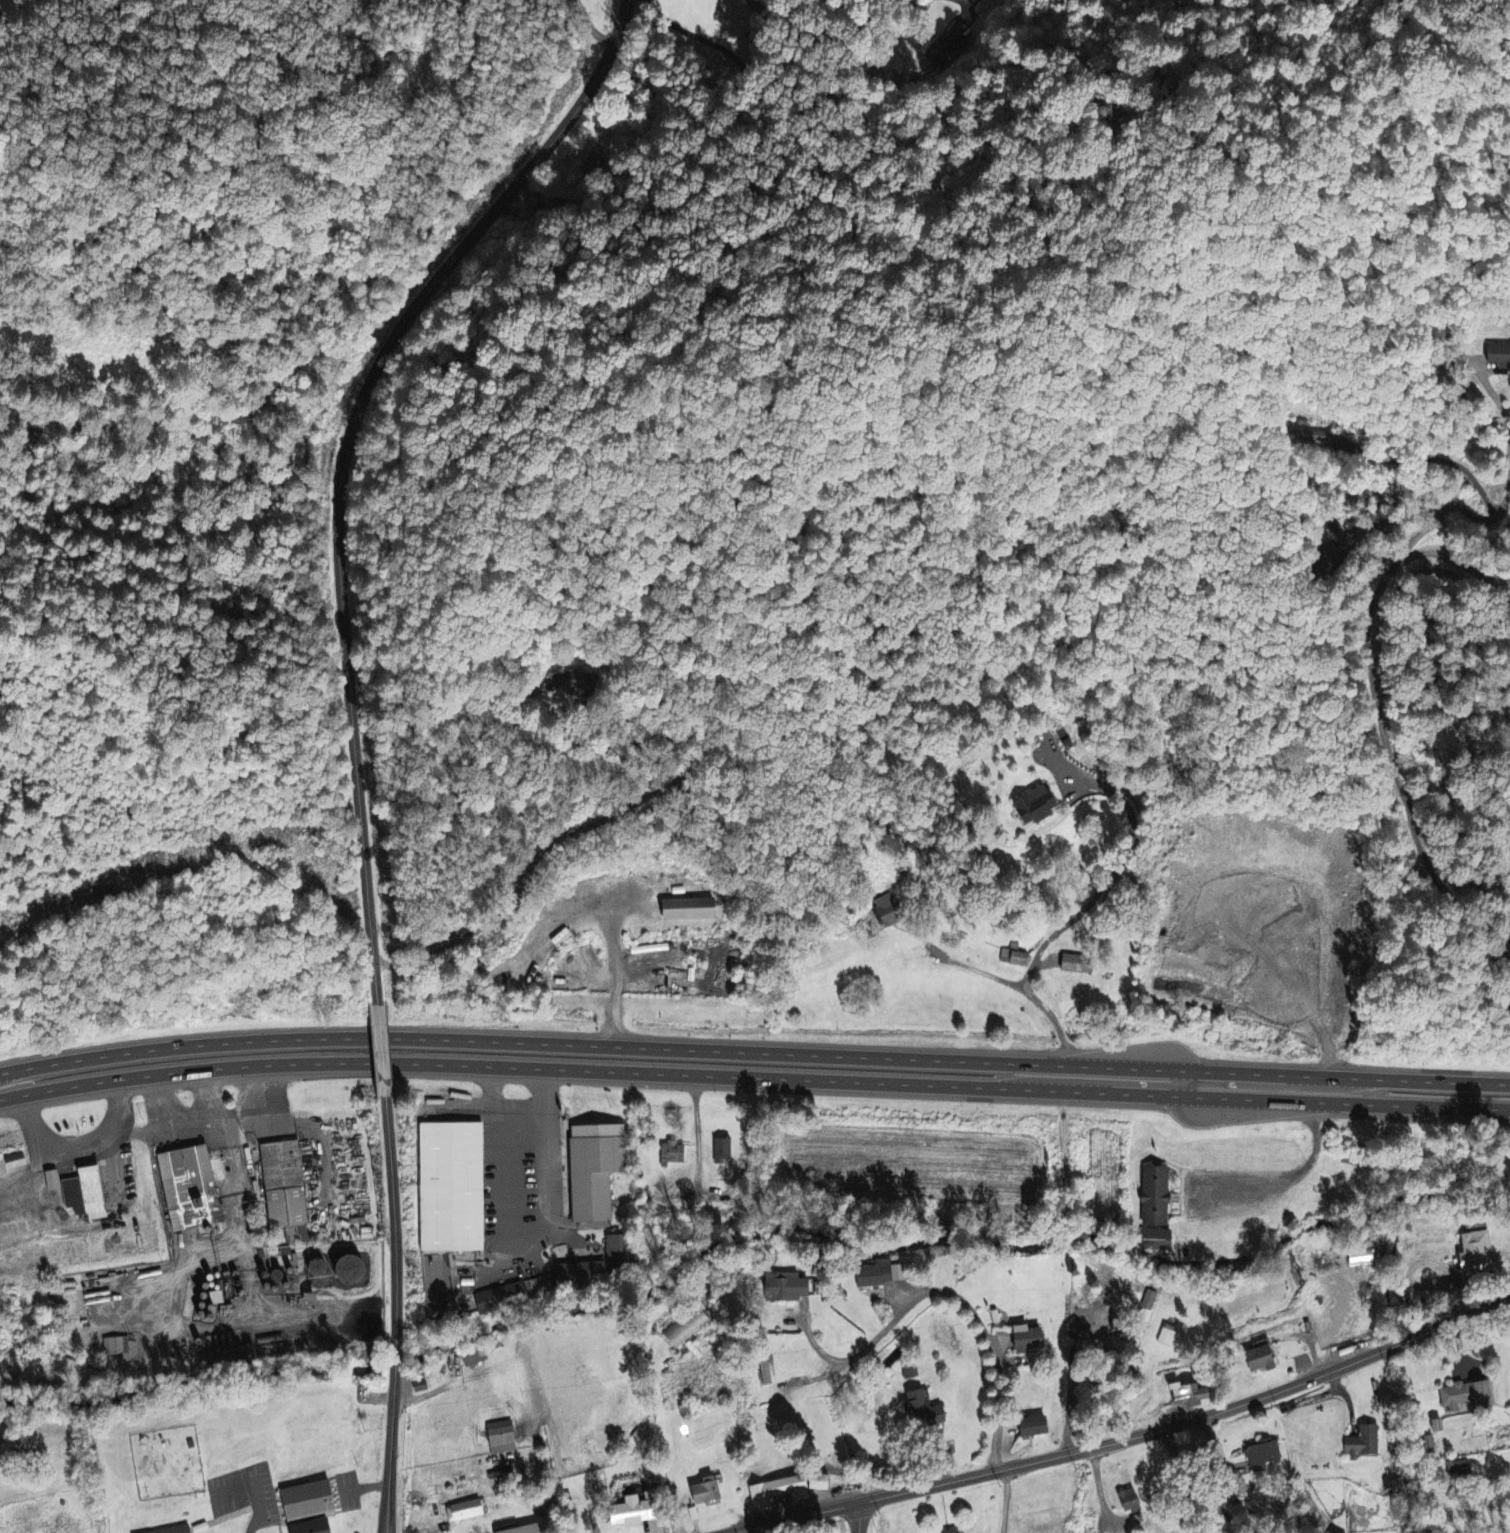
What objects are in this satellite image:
road: (964, 2)
building: (950, 44)
road: (786, 114)
building: (594, 161)
building: (564, 206)
building: (1496, 354)
road: (1493, 390)
road: (341, 459)
road: (1450, 507)
building: (581, 688)
road: (1383, 731)
road: (644, 799)
building: (1031, 807)
road: (1117, 864)
building: (687, 910)
building: (887, 912)
building: (1015, 958)
road: (995, 973)
road: (753, 1047)
road: (383, 1051)
road: (753, 1081)
road: (211, 1093)
road: (516, 1106)
road: (211, 1115)
building: (722, 1152)
building: (677, 1154)
building: (20, 1161)
building: (600, 1170)
building: (452, 1189)
building: (192, 1190)
building: (86, 1192)
building: (288, 1192)
building: (1153, 1210)
building: (1474, 1253)
building: (1358, 1259)
building: (605, 1263)
building: (879, 1274)
building: (783, 1287)
building: (519, 1294)
building: (316, 1300)
road: (974, 1311)
road: (394, 1314)
building: (686, 1330)
building: (1024, 1341)
building: (1095, 1345)
building: (125, 1348)
building: (477, 1357)
building: (1257, 1360)
building: (765, 1370)
building: (909, 1372)
building: (1468, 1395)
building: (1187, 1396)
building: (918, 1411)
building: (1030, 1427)
building: (500, 1439)
road: (1128, 1441)
building: (1363, 1444)
building: (1430, 1446)
building: (1462, 1469)
road: (1220, 1477)
building: (815, 1483)
road: (365, 1487)
building: (776, 1492)
building: (704, 1493)
building: (314, 1501)
road: (1006, 1501)
building: (1126, 1501)
road: (261, 1507)
building: (463, 1511)
building: (624, 1513)
road: (861, 1518)
building: (319, 1527)
building: (177, 1530)
building: (522, 1530)
building: (952, 1531)

